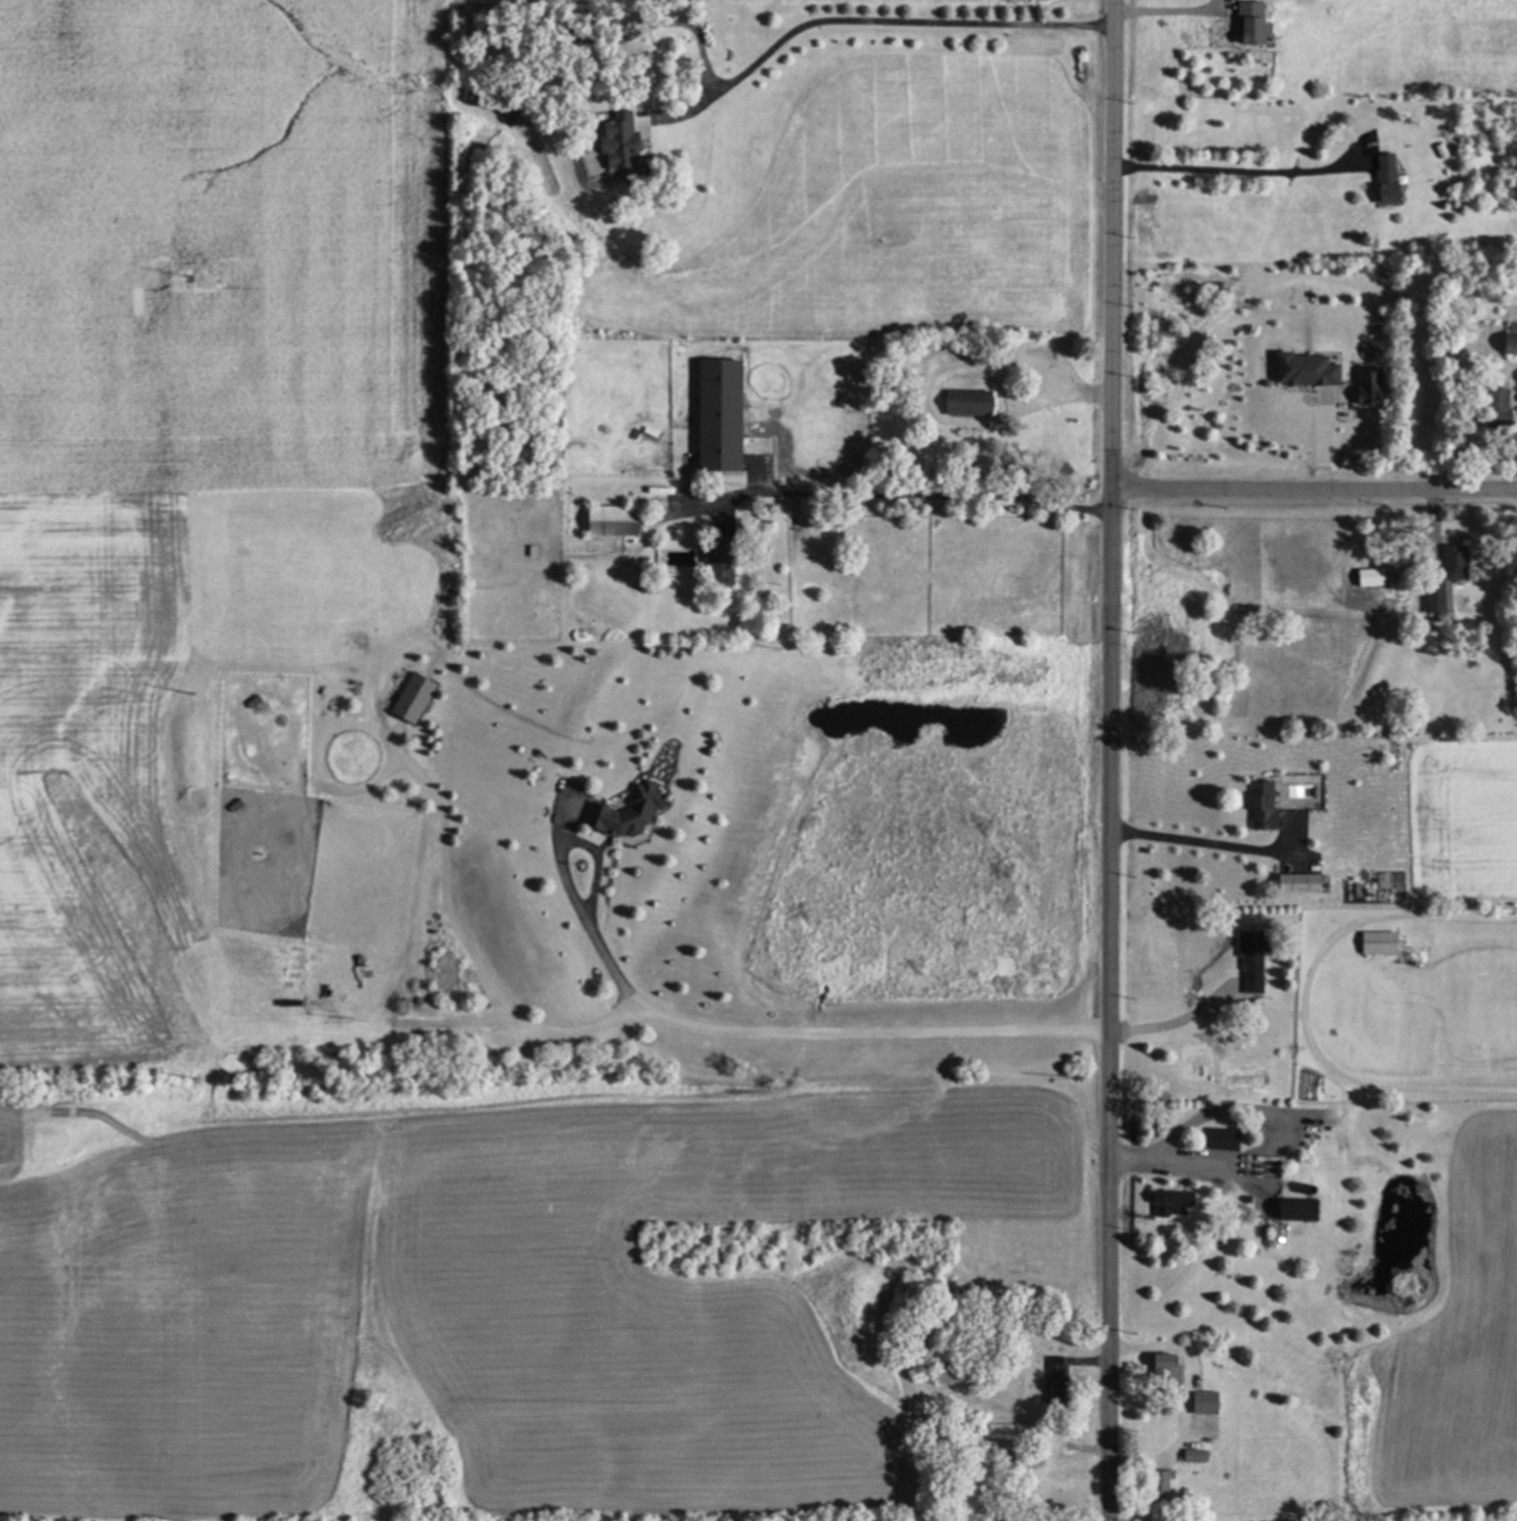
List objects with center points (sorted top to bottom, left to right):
road: (1167, 11)
road: (865, 21)
road: (1230, 170)
building: (1383, 180)
road: (1108, 242)
building: (1507, 340)
parking lot: (1007, 368)
building: (1300, 370)
road: (1514, 372)
building: (1360, 386)
park: (890, 389)
road: (925, 403)
building: (970, 404)
building: (1493, 407)
road: (1313, 485)
road: (911, 493)
building: (610, 521)
building: (1450, 562)
building: (714, 574)
building: (1431, 596)
building: (1259, 806)
building: (621, 814)
road: (1189, 842)
building: (1295, 883)
road: (594, 943)
building: (1374, 943)
building: (1247, 961)
road: (1111, 1003)
road: (655, 1019)
road: (1178, 1022)
road: (1262, 1110)
building: (1217, 1140)
building: (1167, 1202)
building: (1291, 1211)
building: (1160, 1369)
road: (1189, 1396)
building: (1199, 1402)
building: (1192, 1456)
building: (1156, 1486)

